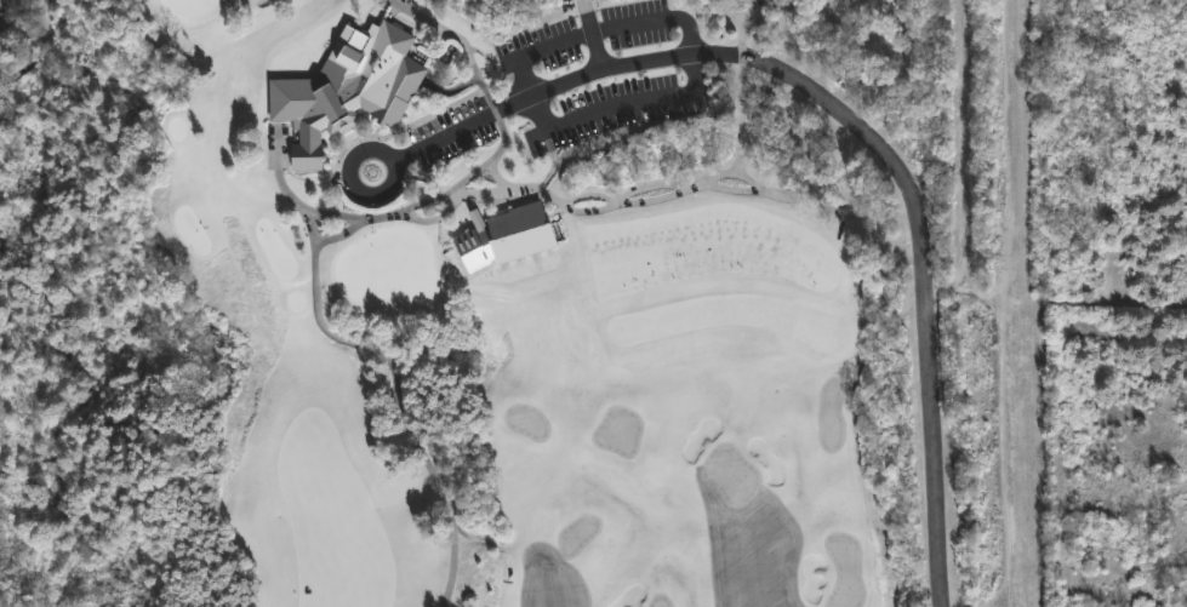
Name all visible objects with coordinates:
park: (844, 1)
park: (188, 6)
road: (589, 36)
road: (690, 40)
road: (36, 51)
building: (349, 92)
road: (855, 124)
road: (387, 154)
road: (498, 154)
road: (339, 218)
building: (495, 233)
park: (388, 268)
park: (478, 303)
road: (390, 363)
park: (831, 414)
road: (1060, 414)
park: (526, 422)
park: (618, 433)
park: (731, 475)
park: (578, 536)
park: (845, 571)
park: (661, 601)

